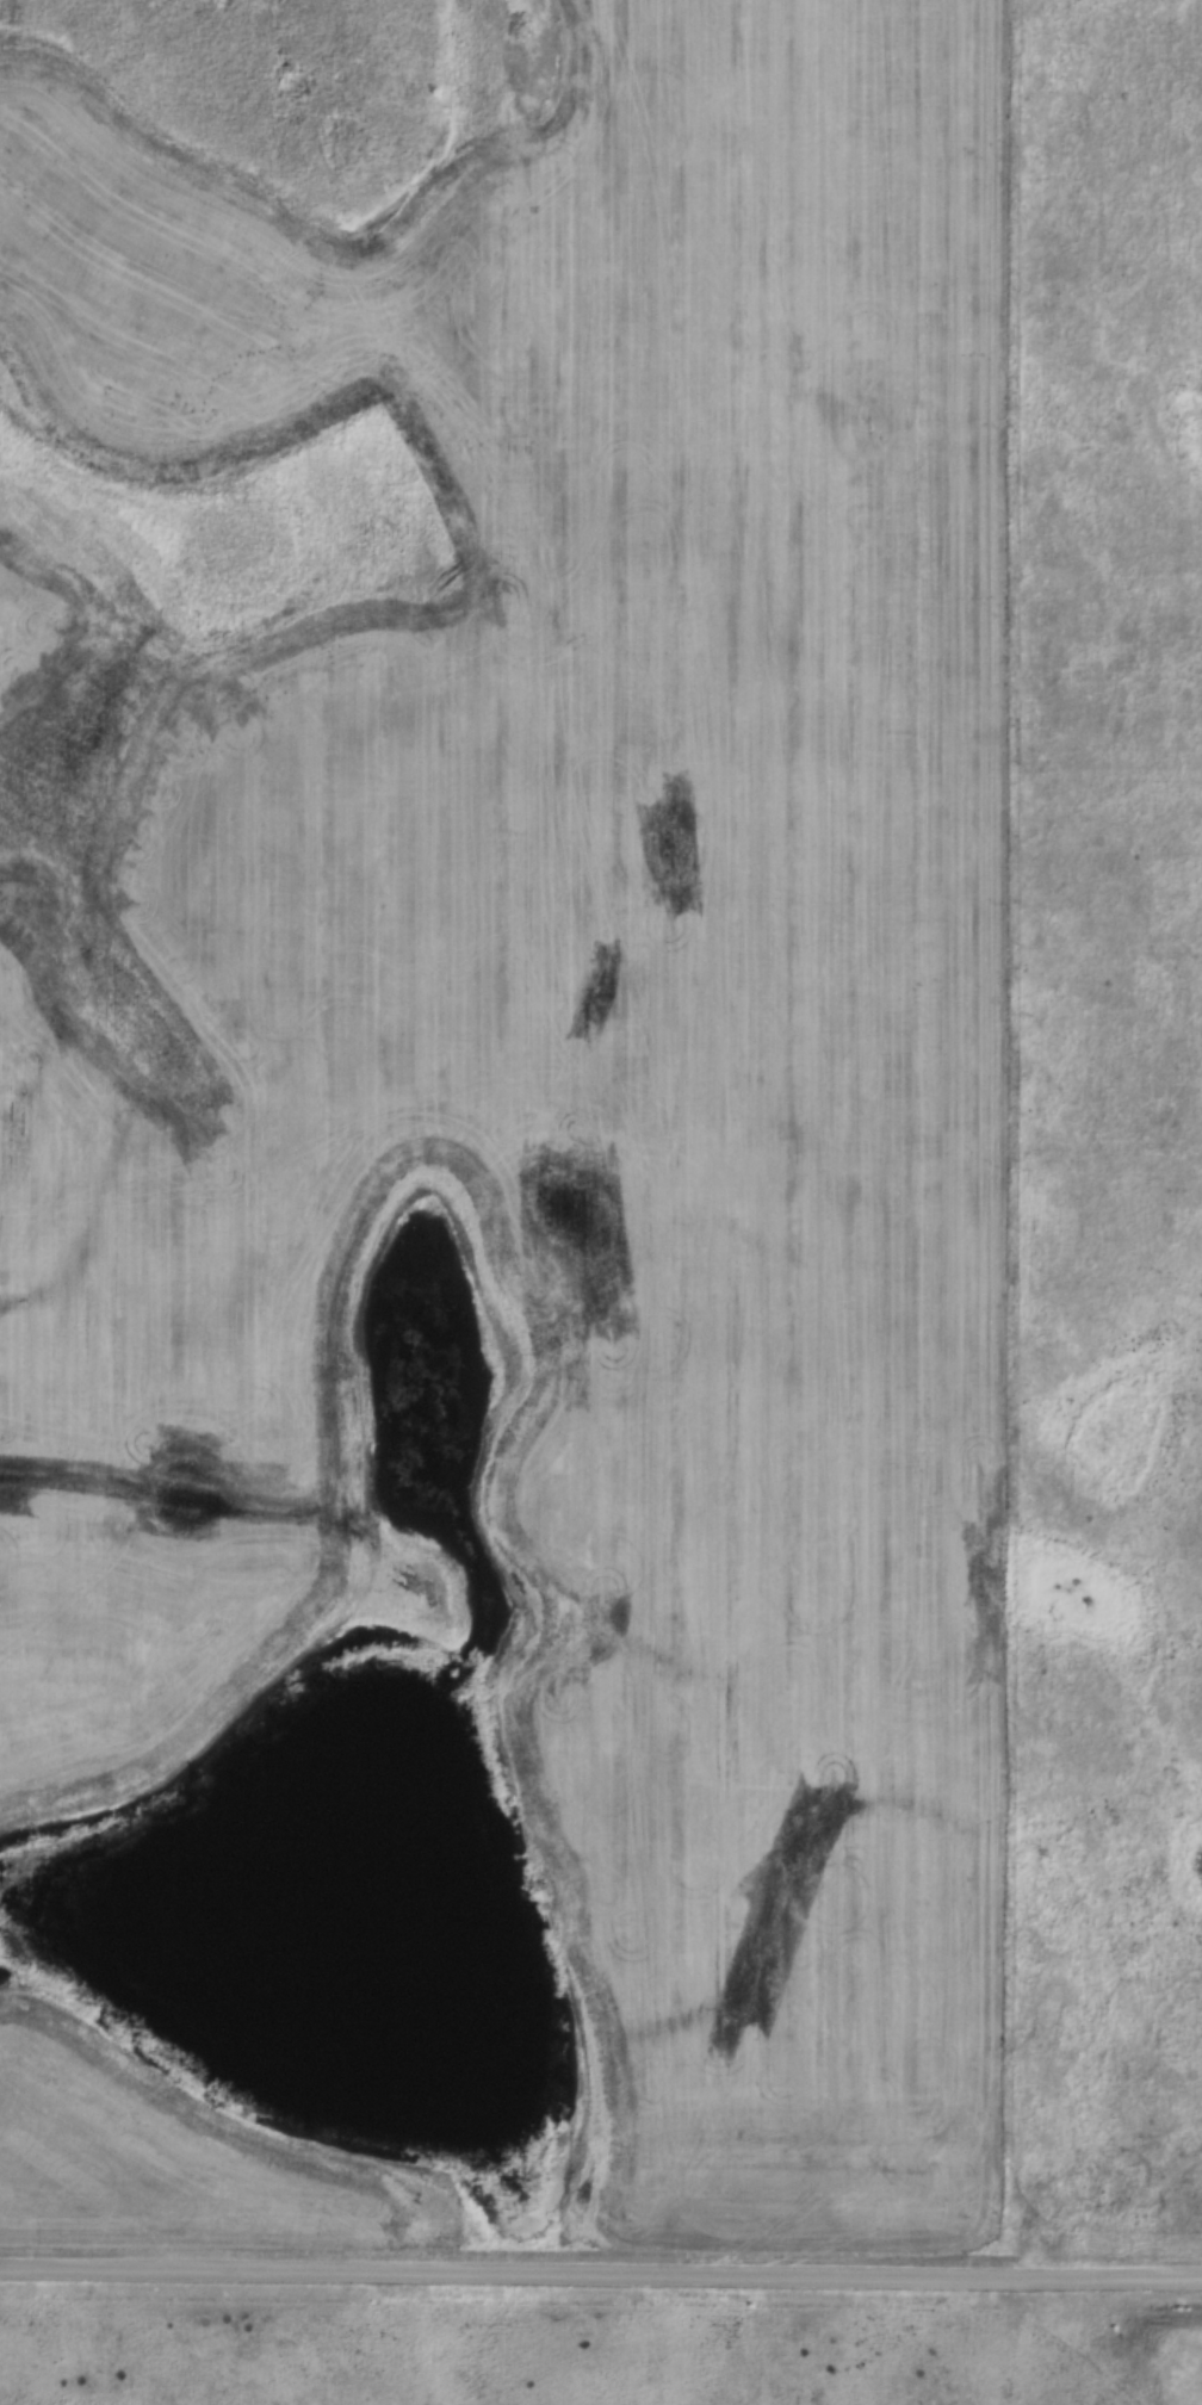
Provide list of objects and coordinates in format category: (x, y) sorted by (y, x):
road: (600, 2273)

